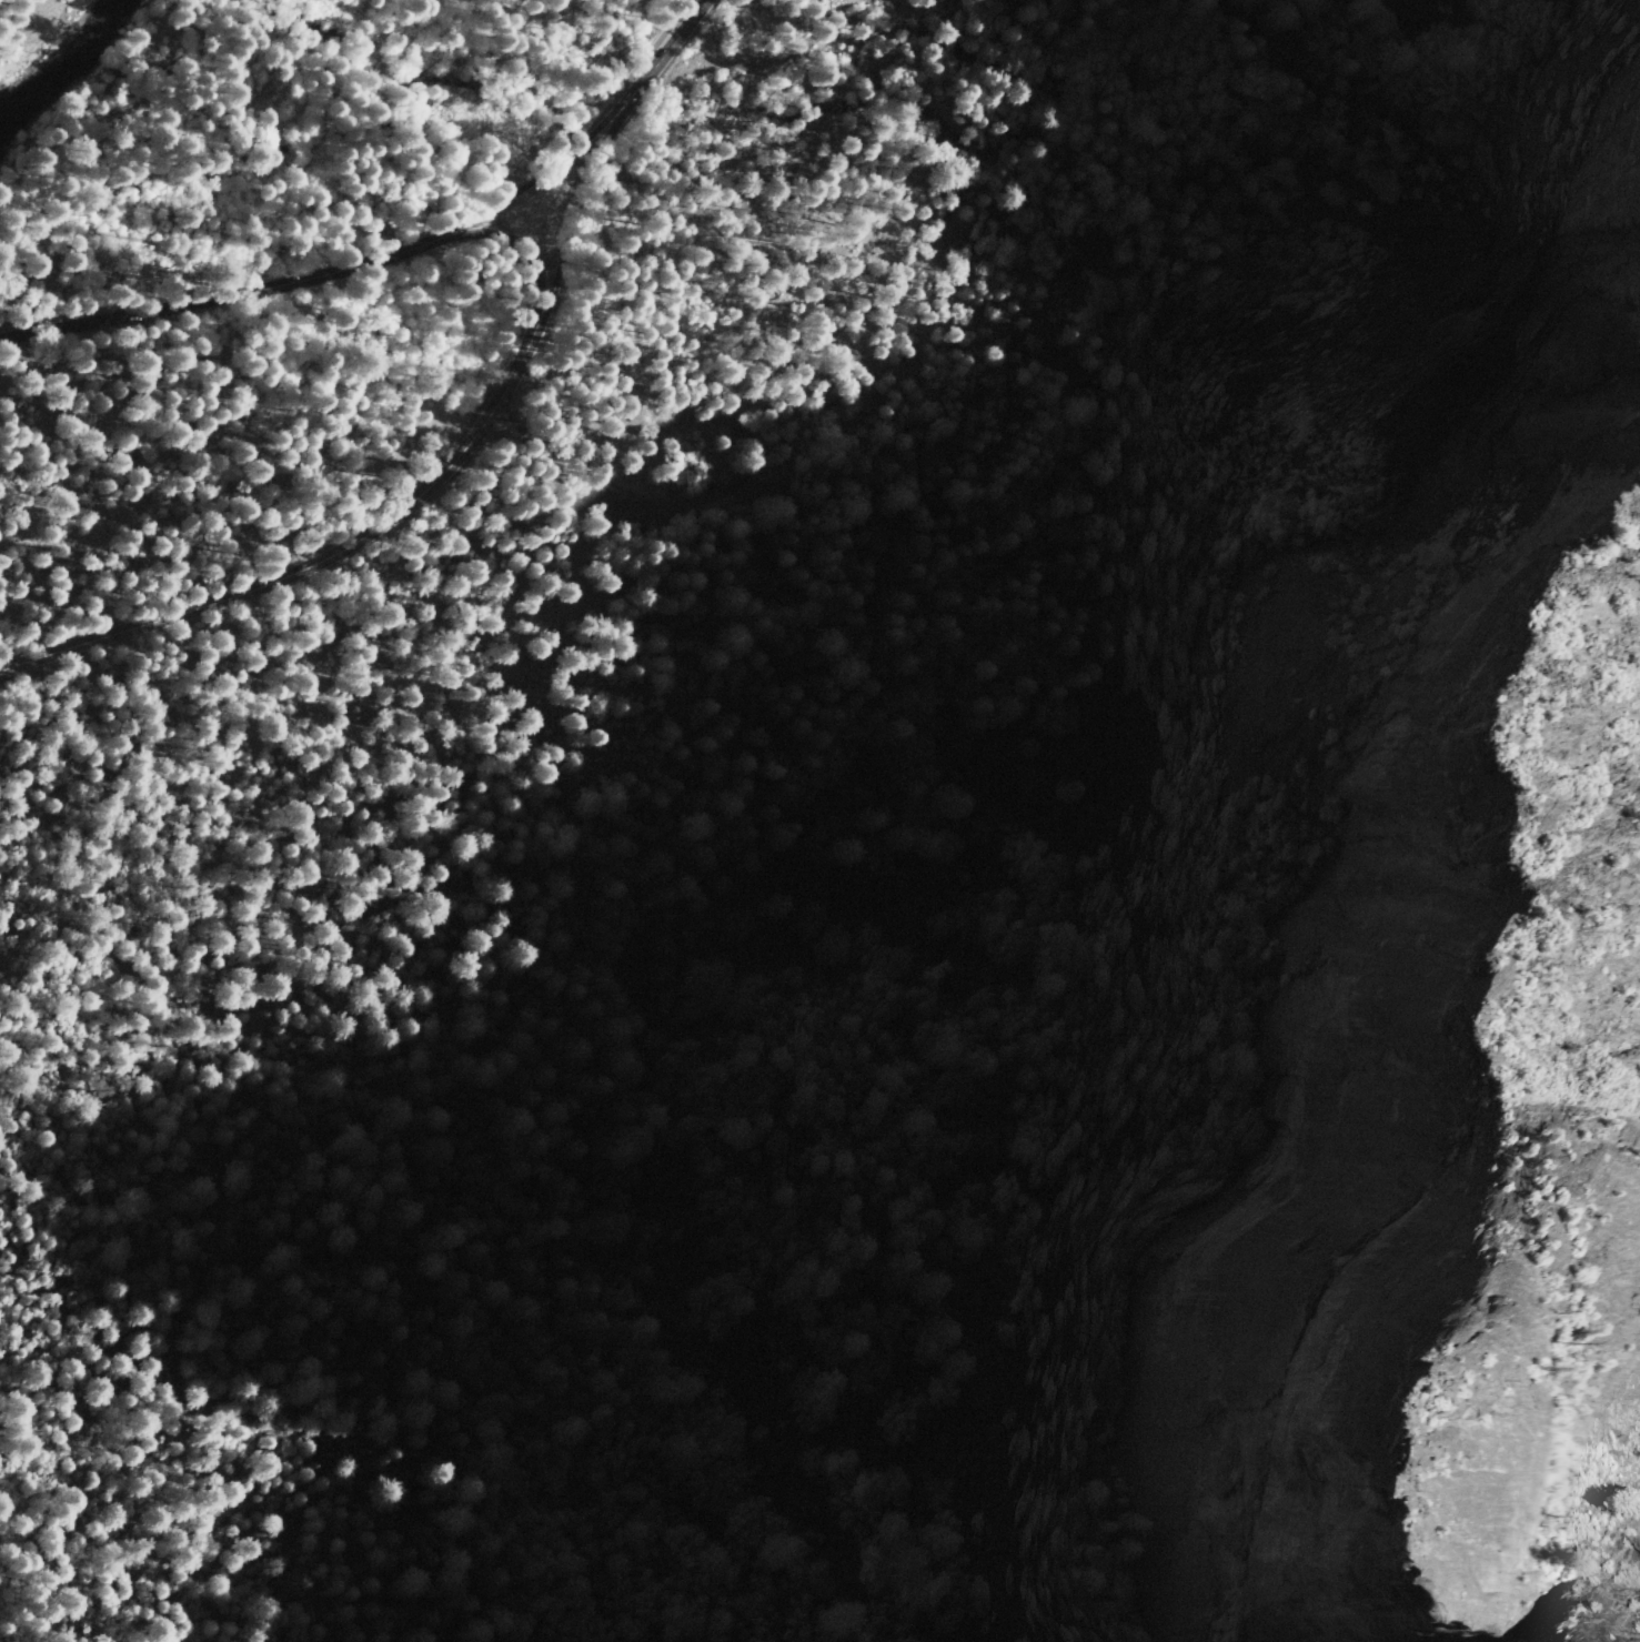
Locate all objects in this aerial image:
parking lot: (665, 46)
river: (49, 52)
road: (648, 81)
road: (1028, 102)
road: (149, 103)
road: (529, 189)
road: (552, 224)
road: (1190, 224)
road: (529, 248)
road: (243, 295)
road: (844, 333)
road: (542, 407)
parking lot: (758, 457)
road: (747, 460)
road: (374, 532)
road: (48, 652)

